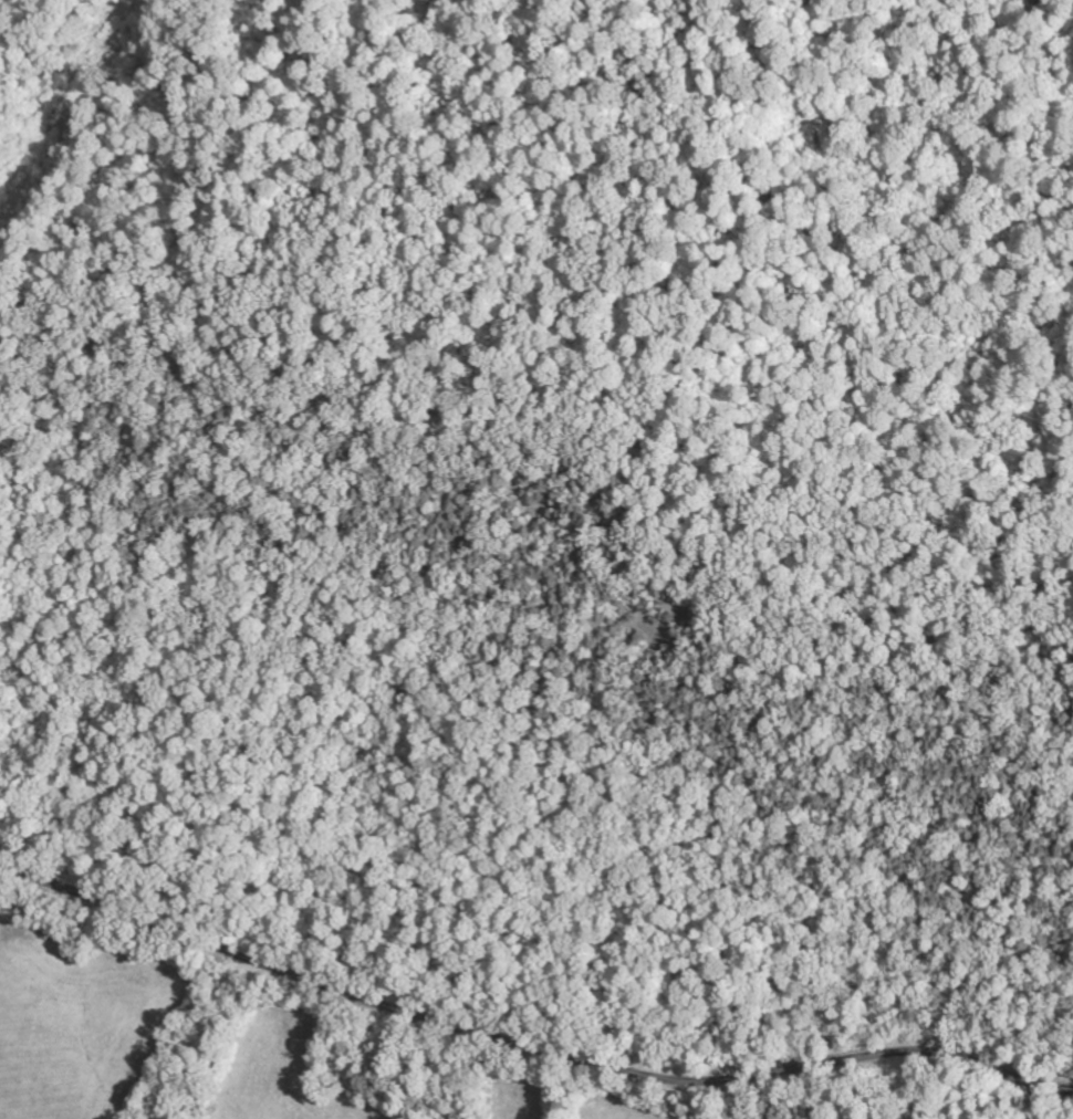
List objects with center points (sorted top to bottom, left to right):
road: (524, 1048)

